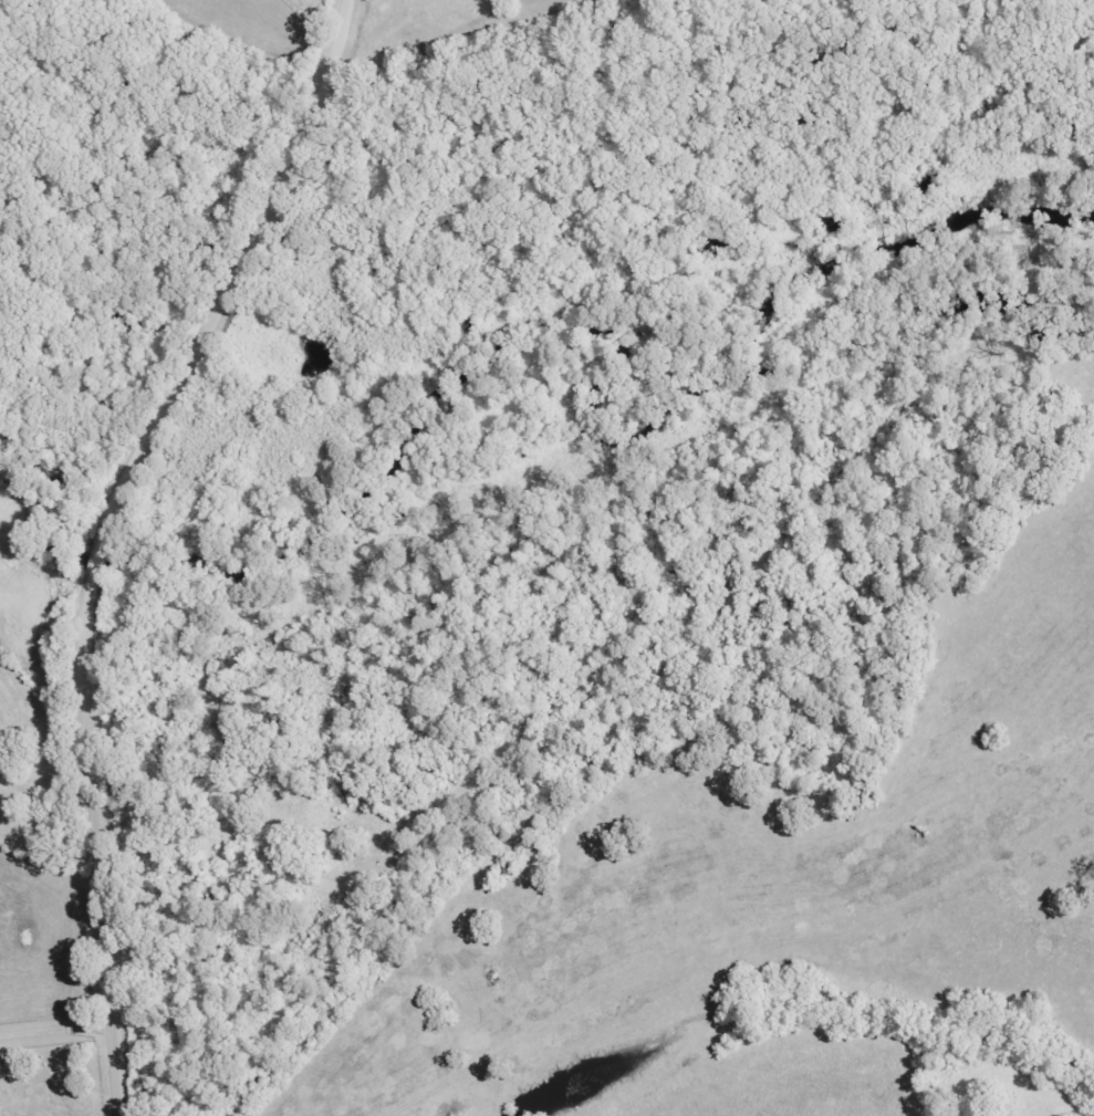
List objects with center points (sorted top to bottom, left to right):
road: (102, 531)

